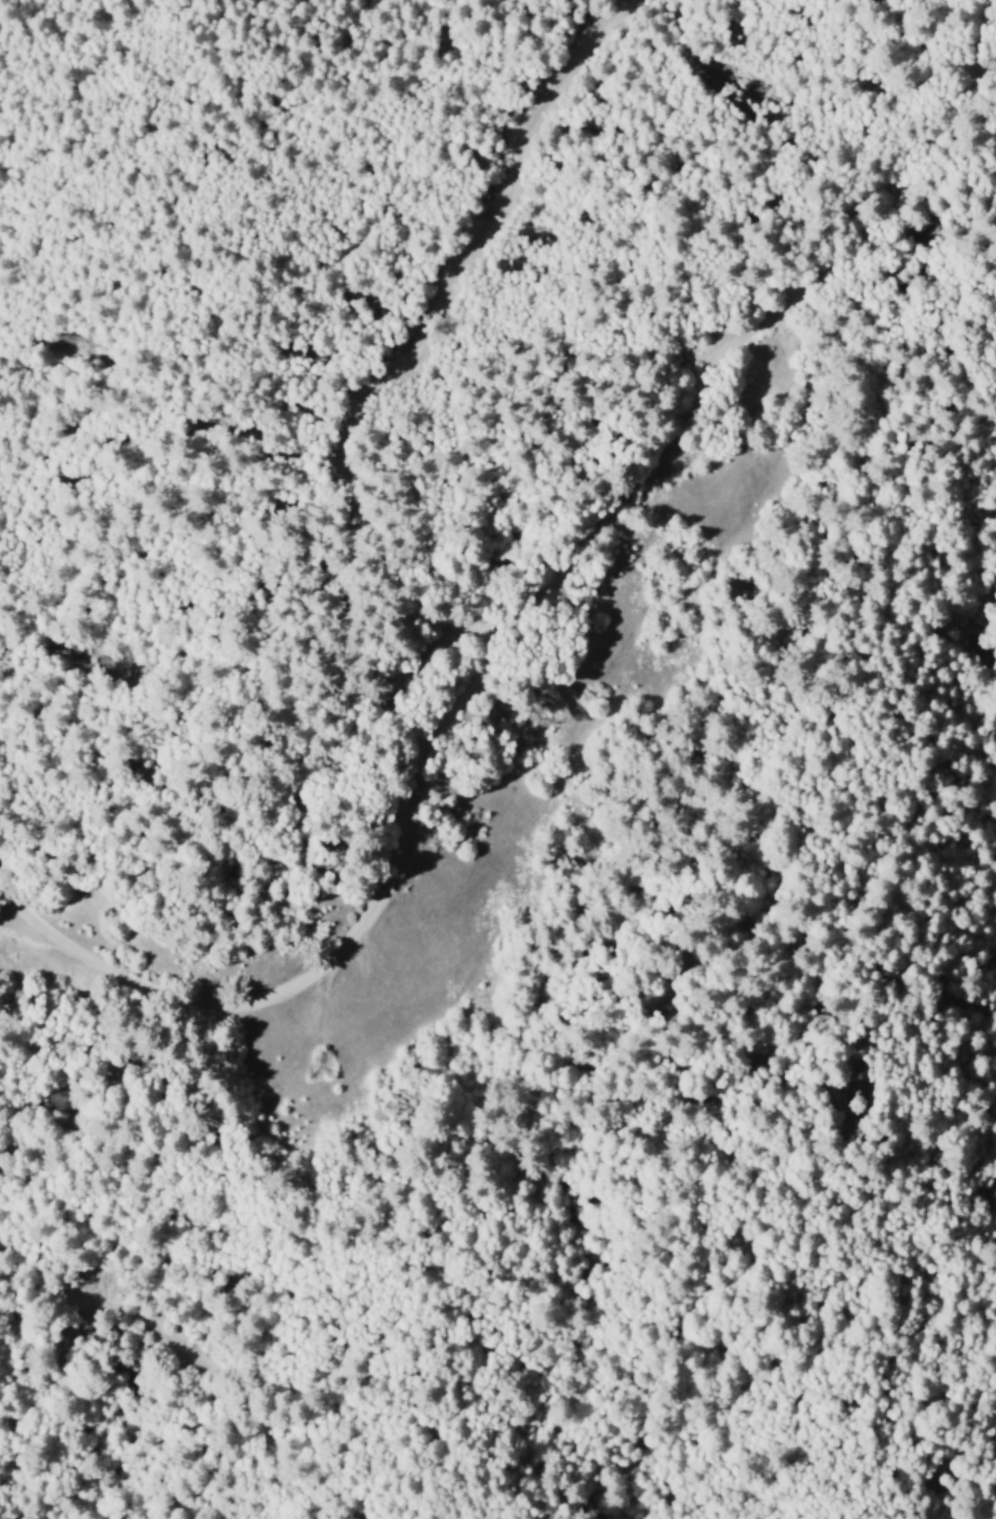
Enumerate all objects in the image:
road: (520, 603)
road: (62, 1092)
road: (191, 1356)

